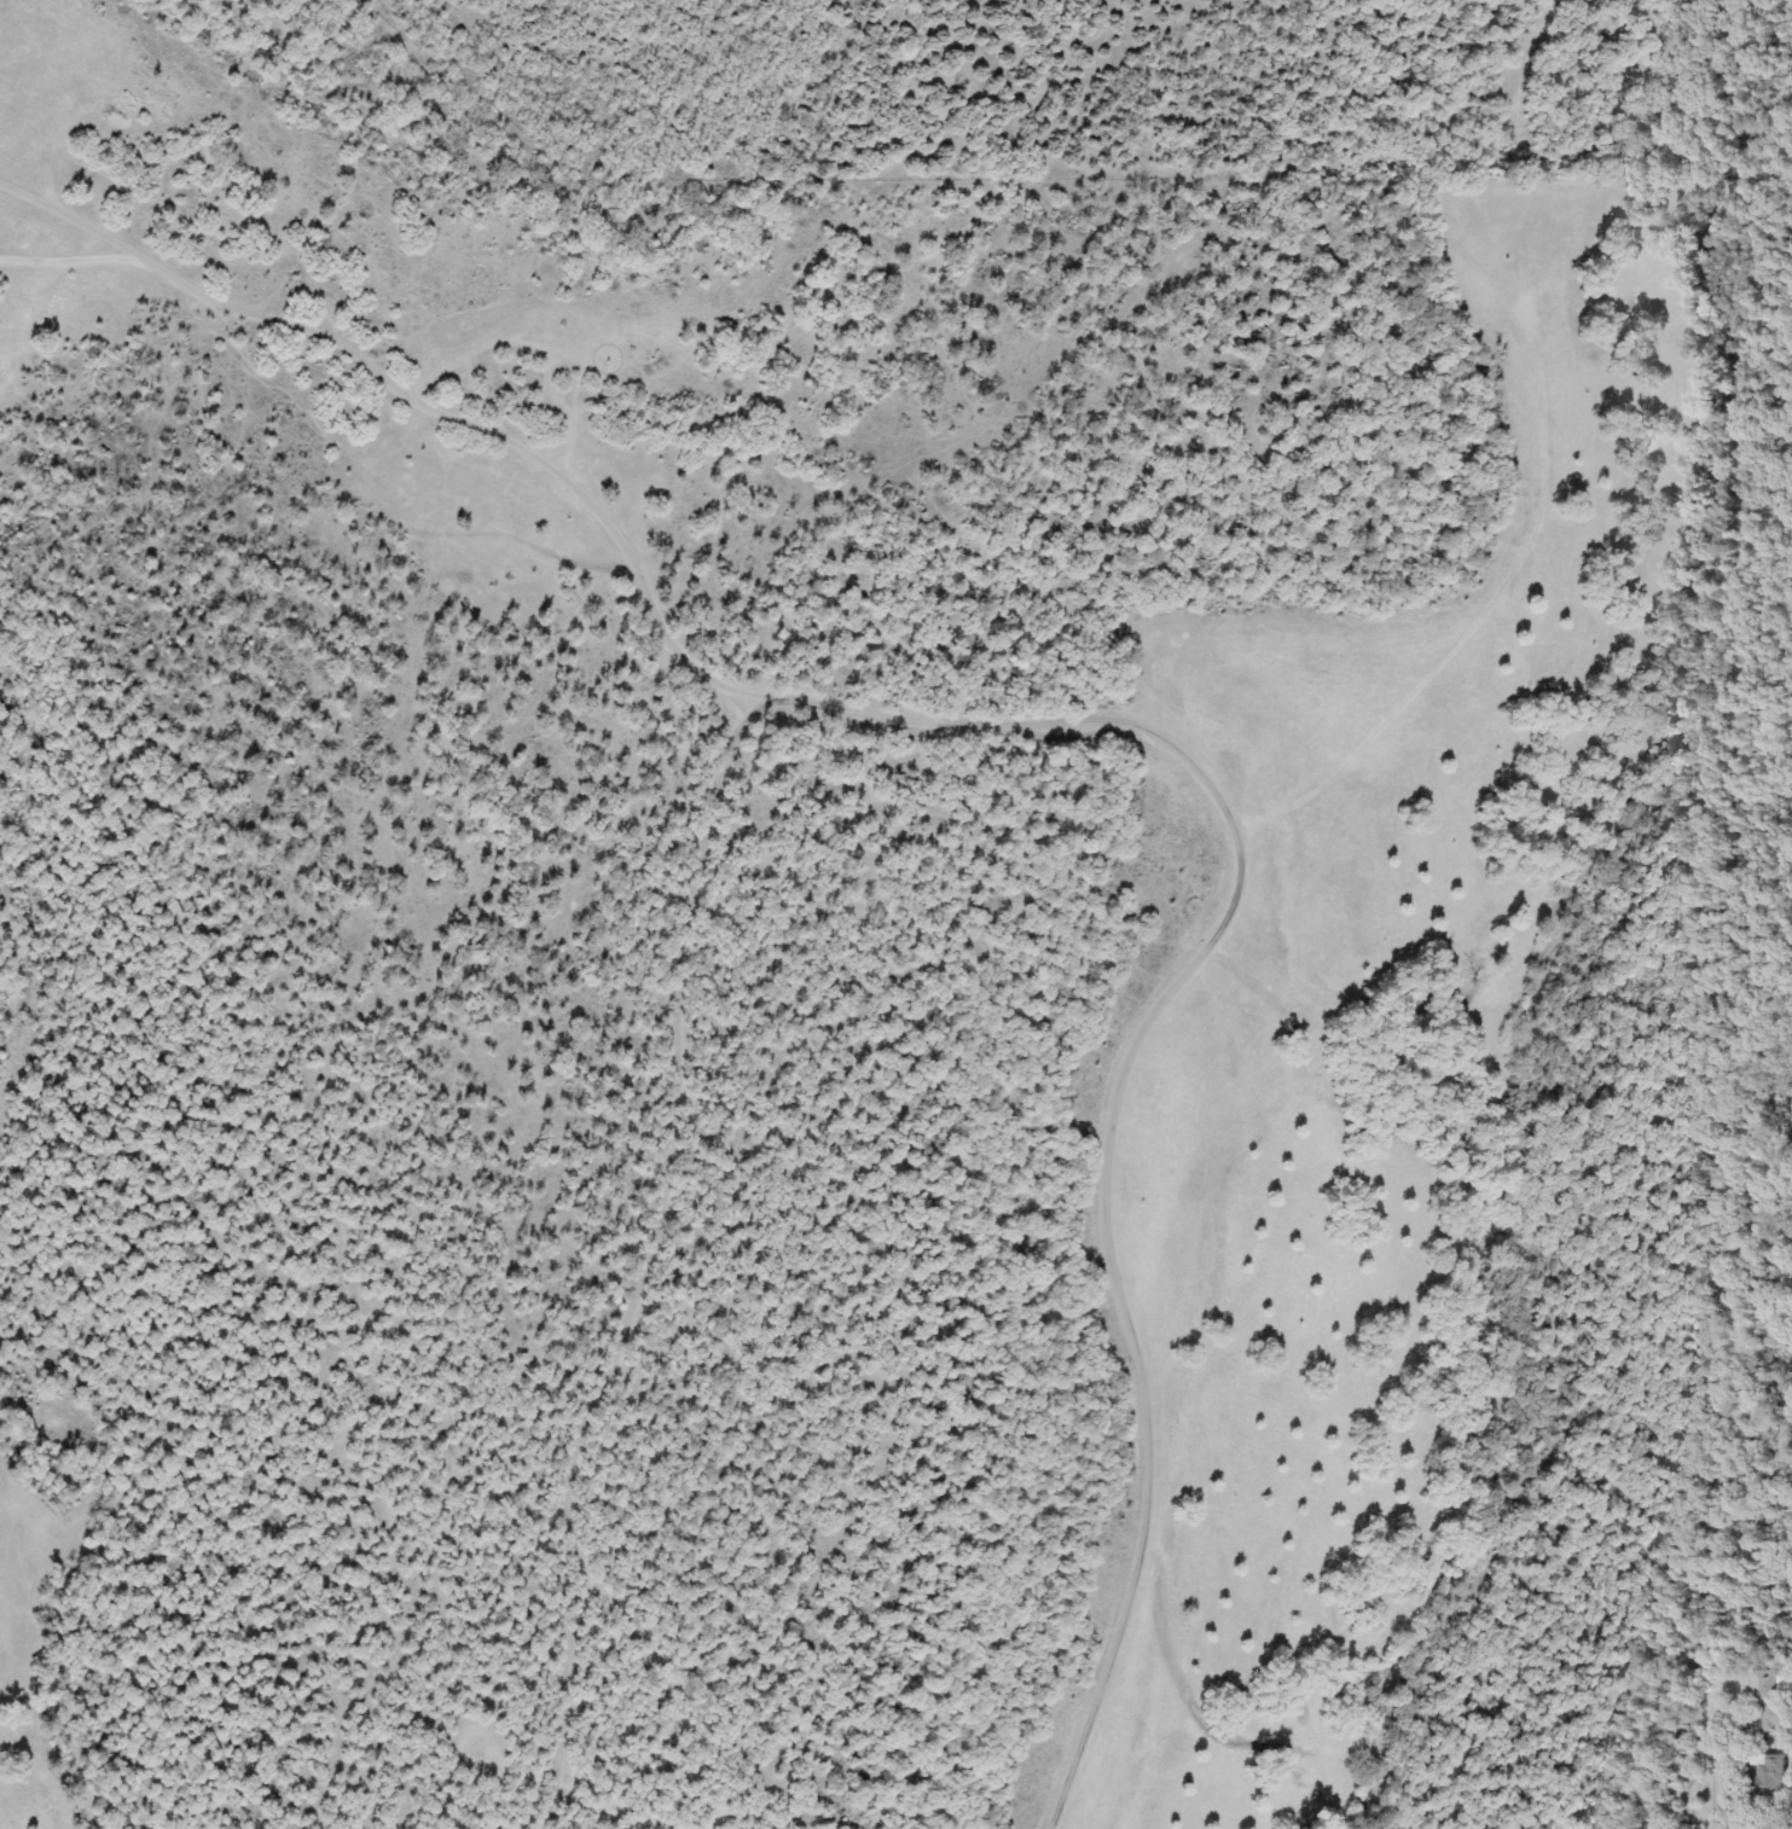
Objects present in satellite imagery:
road: (1077, 719)
road: (650, 1261)
building: (1771, 1700)
building: (1770, 1775)

